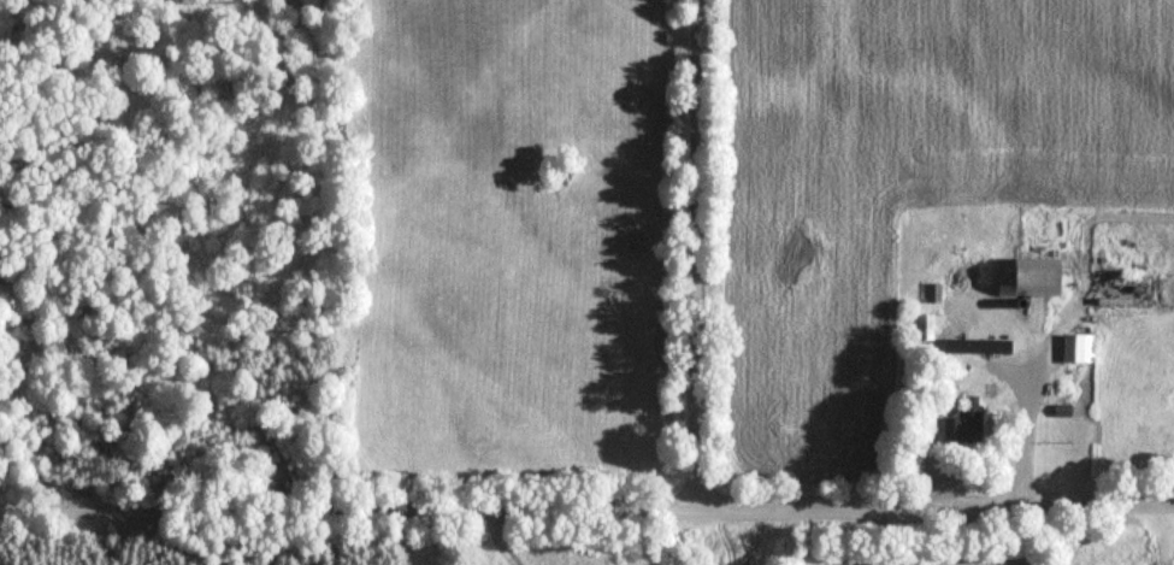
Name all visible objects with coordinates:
road: (698, 255)
building: (1044, 277)
building: (925, 323)
building: (1078, 349)
building: (972, 410)
road: (586, 511)

